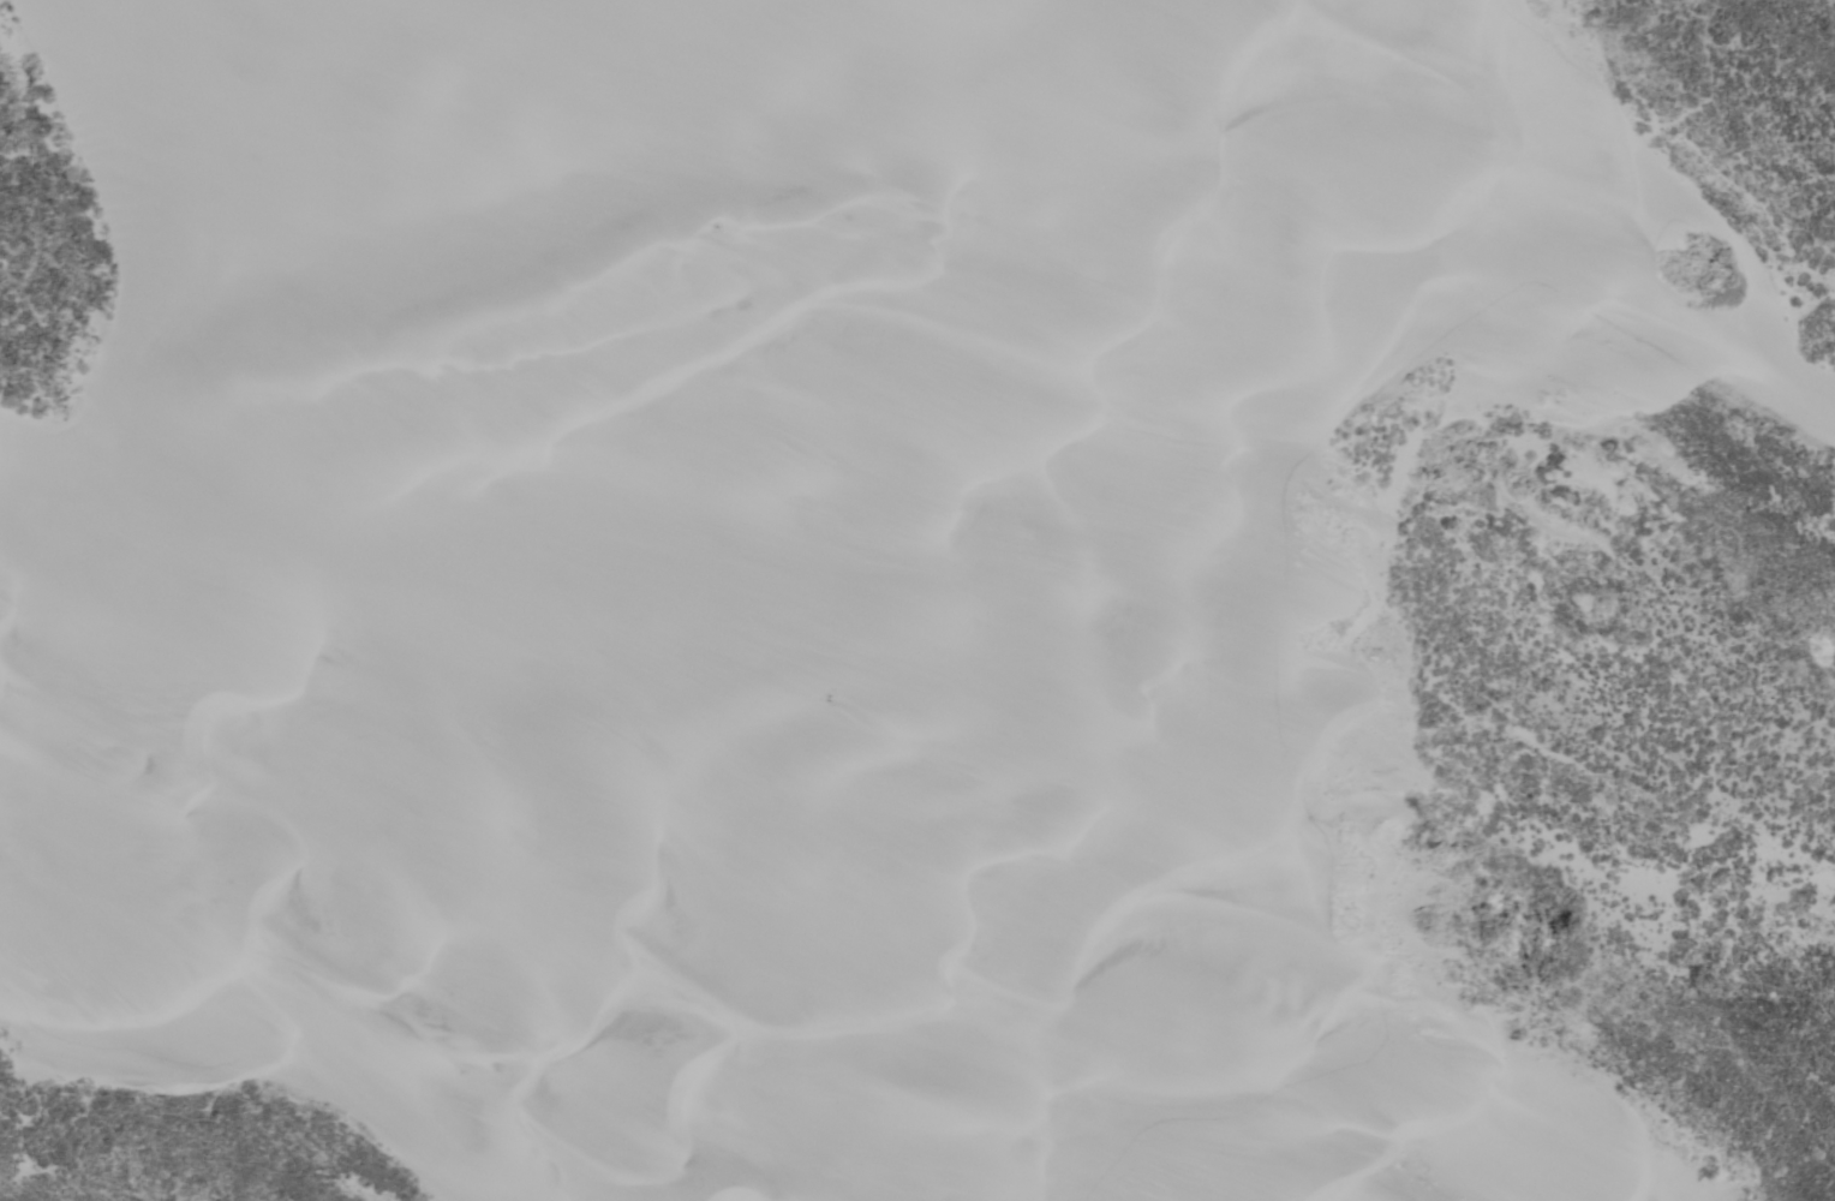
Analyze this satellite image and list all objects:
road: (1337, 305)
road: (831, 600)
park: (926, 600)

